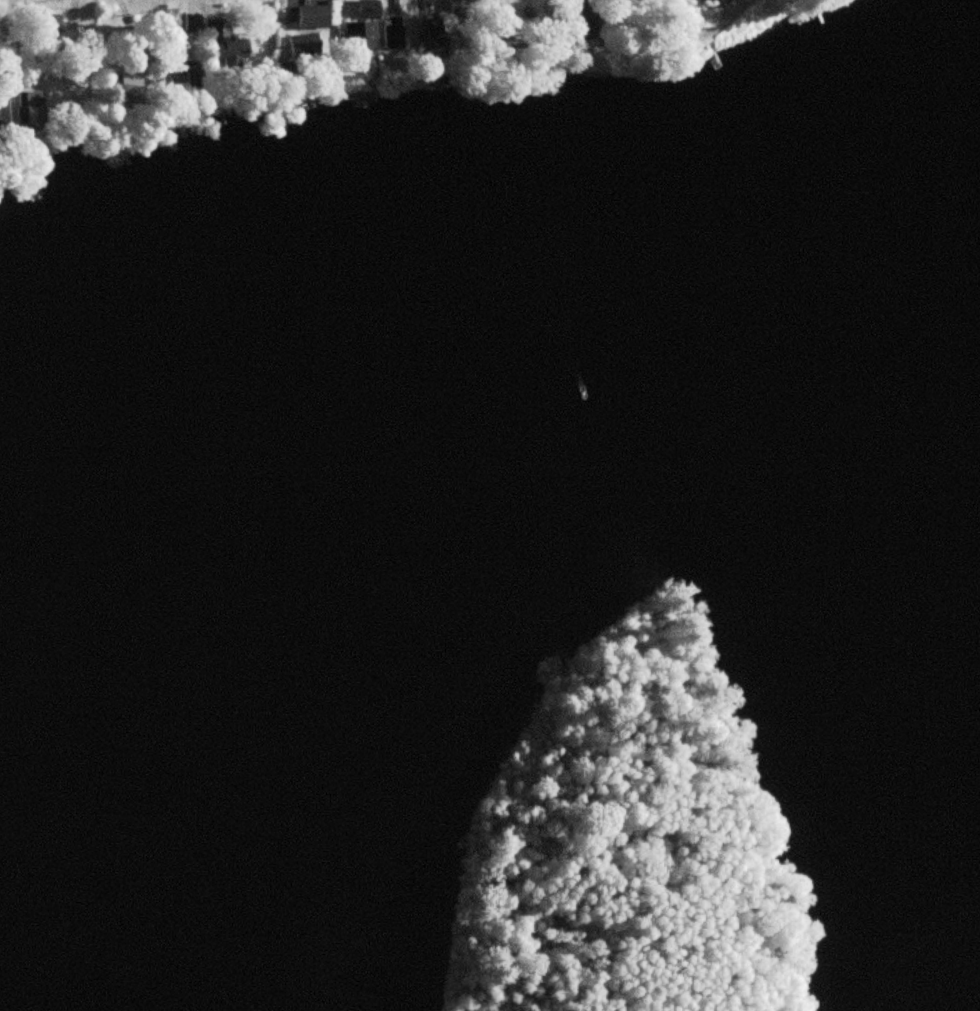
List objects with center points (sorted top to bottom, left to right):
building: (585, 15)
building: (313, 16)
building: (190, 23)
building: (51, 25)
building: (432, 29)
building: (392, 32)
building: (365, 36)
road: (16, 48)
building: (188, 71)
building: (26, 105)
river: (359, 429)

